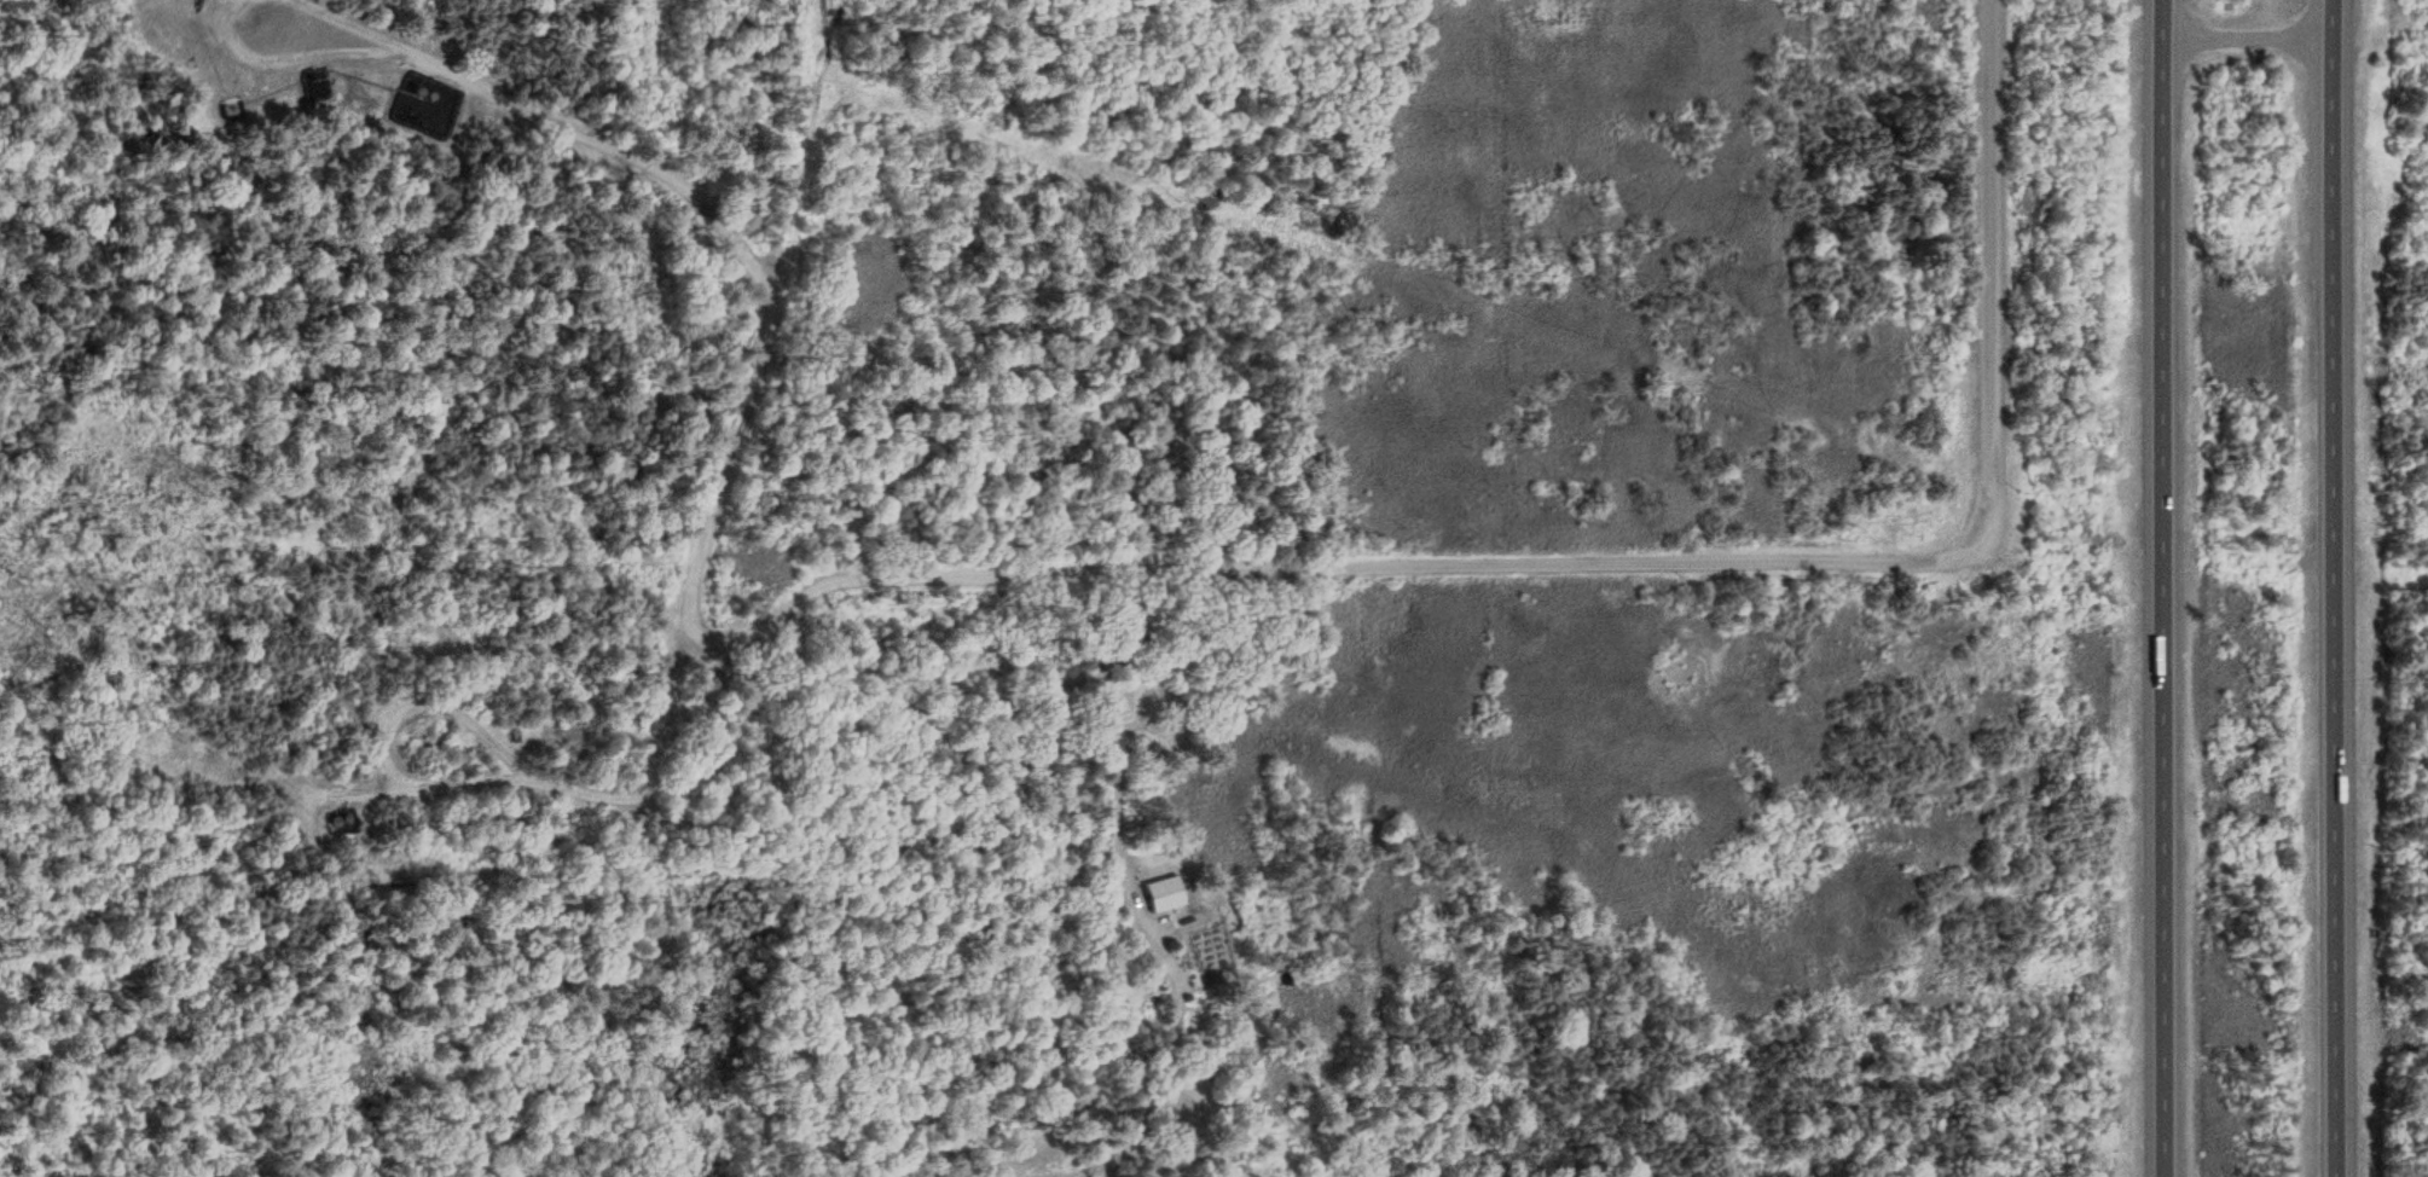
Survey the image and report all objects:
road: (2229, 21)
road: (1970, 266)
road: (1235, 551)
road: (2142, 587)
road: (2318, 587)
building: (511, 731)
building: (1158, 897)

